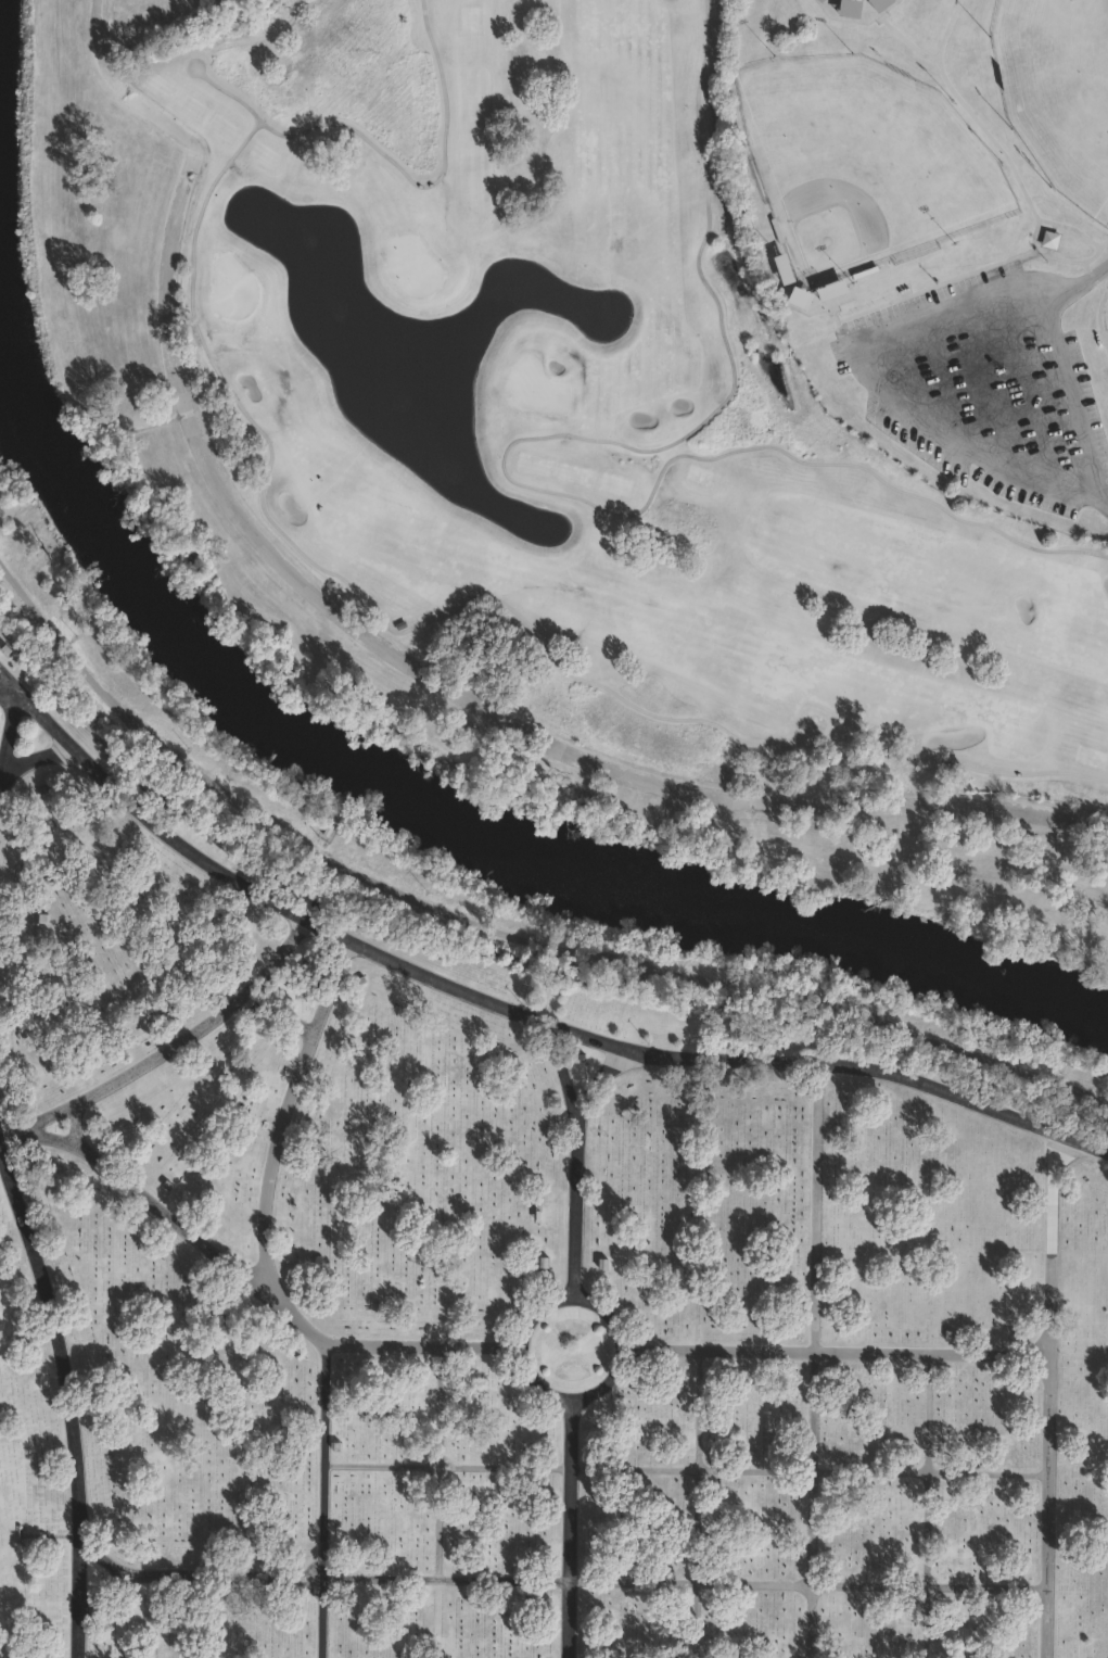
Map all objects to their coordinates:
building: (820, 0)
building: (849, 8)
road: (952, 22)
park: (1057, 85)
road: (988, 115)
park: (875, 150)
park: (944, 214)
building: (1049, 239)
road: (1053, 248)
building: (831, 290)
road: (1105, 304)
road: (1080, 365)
road: (880, 372)
park: (535, 381)
road: (373, 643)
road: (41, 718)
road: (1, 779)
river: (441, 810)
building: (42, 917)
road: (346, 921)
road: (502, 925)
road: (279, 939)
road: (338, 967)
building: (62, 971)
road: (289, 1000)
road: (797, 1059)
road: (131, 1063)
road: (601, 1080)
road: (69, 1121)
road: (149, 1199)
park: (502, 1291)
road: (310, 1326)
road: (617, 1343)
road: (425, 1349)
road: (839, 1352)
road: (825, 1360)
road: (71, 1388)
road: (1058, 1400)
road: (447, 1408)
road: (940, 1413)
road: (692, 1469)
road: (571, 1524)
road: (204, 1559)
road: (447, 1561)
road: (940, 1565)
road: (105, 1574)
road: (693, 1585)

